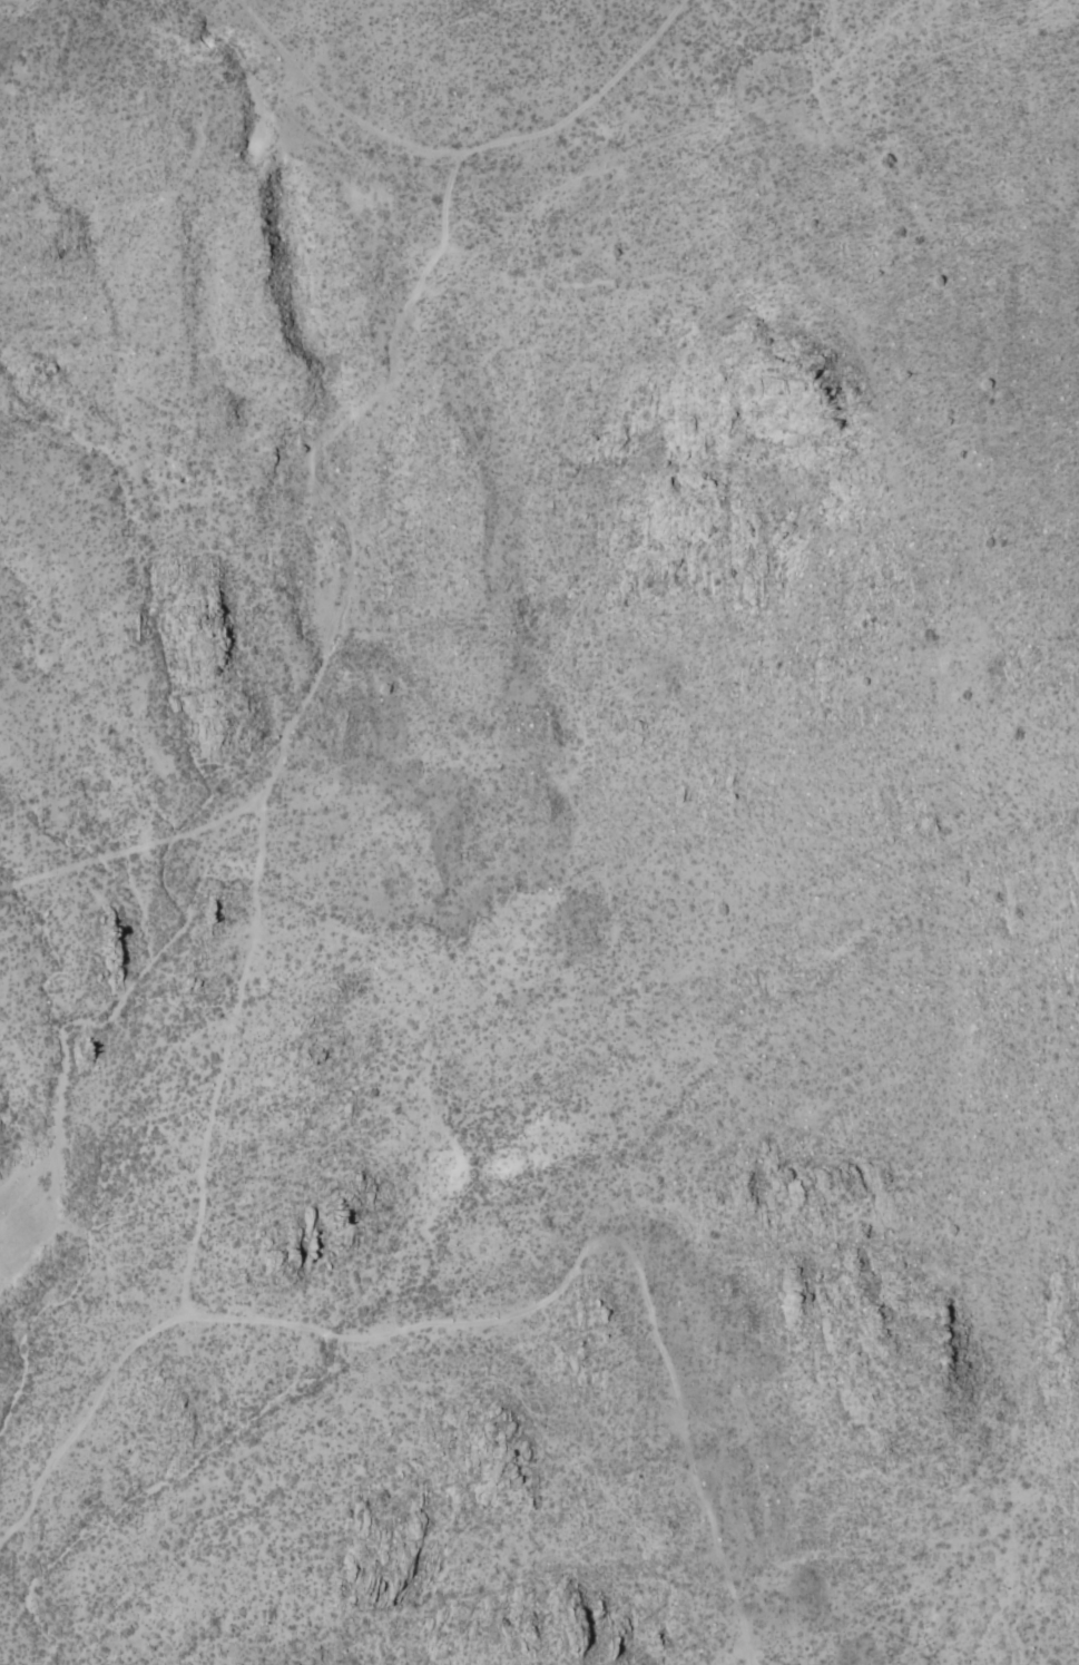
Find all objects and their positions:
road: (588, 101)
road: (331, 105)
road: (297, 707)
road: (134, 848)
road: (608, 1235)
road: (85, 1417)

